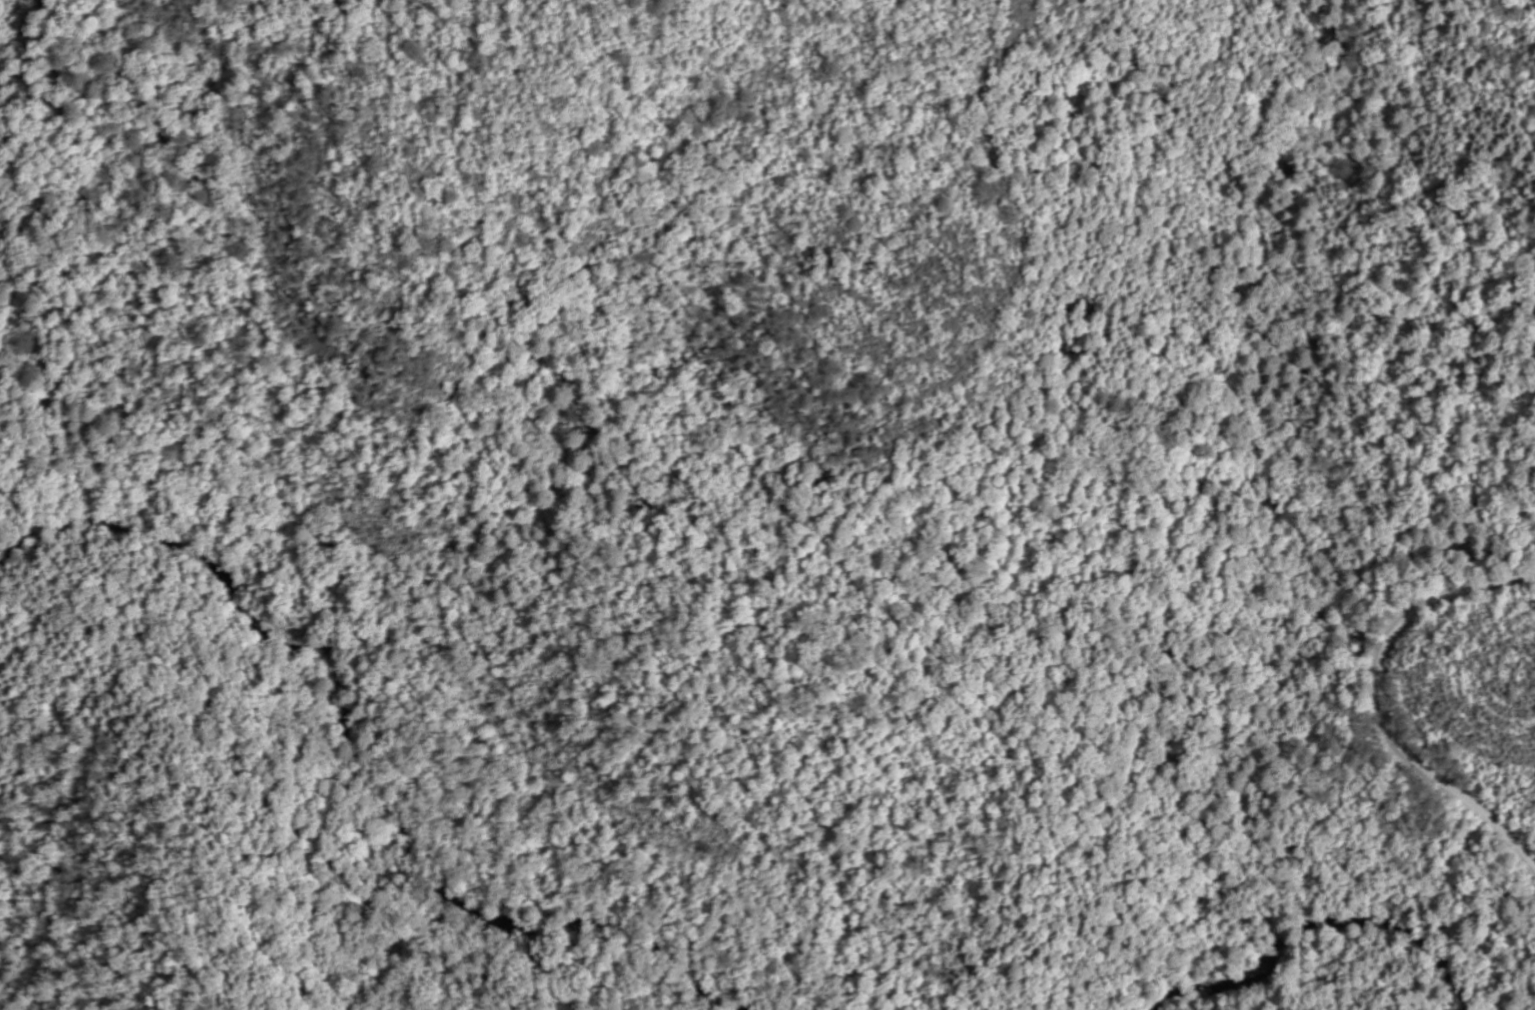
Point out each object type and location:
road: (1387, 699)
road: (346, 773)
road: (1345, 969)

